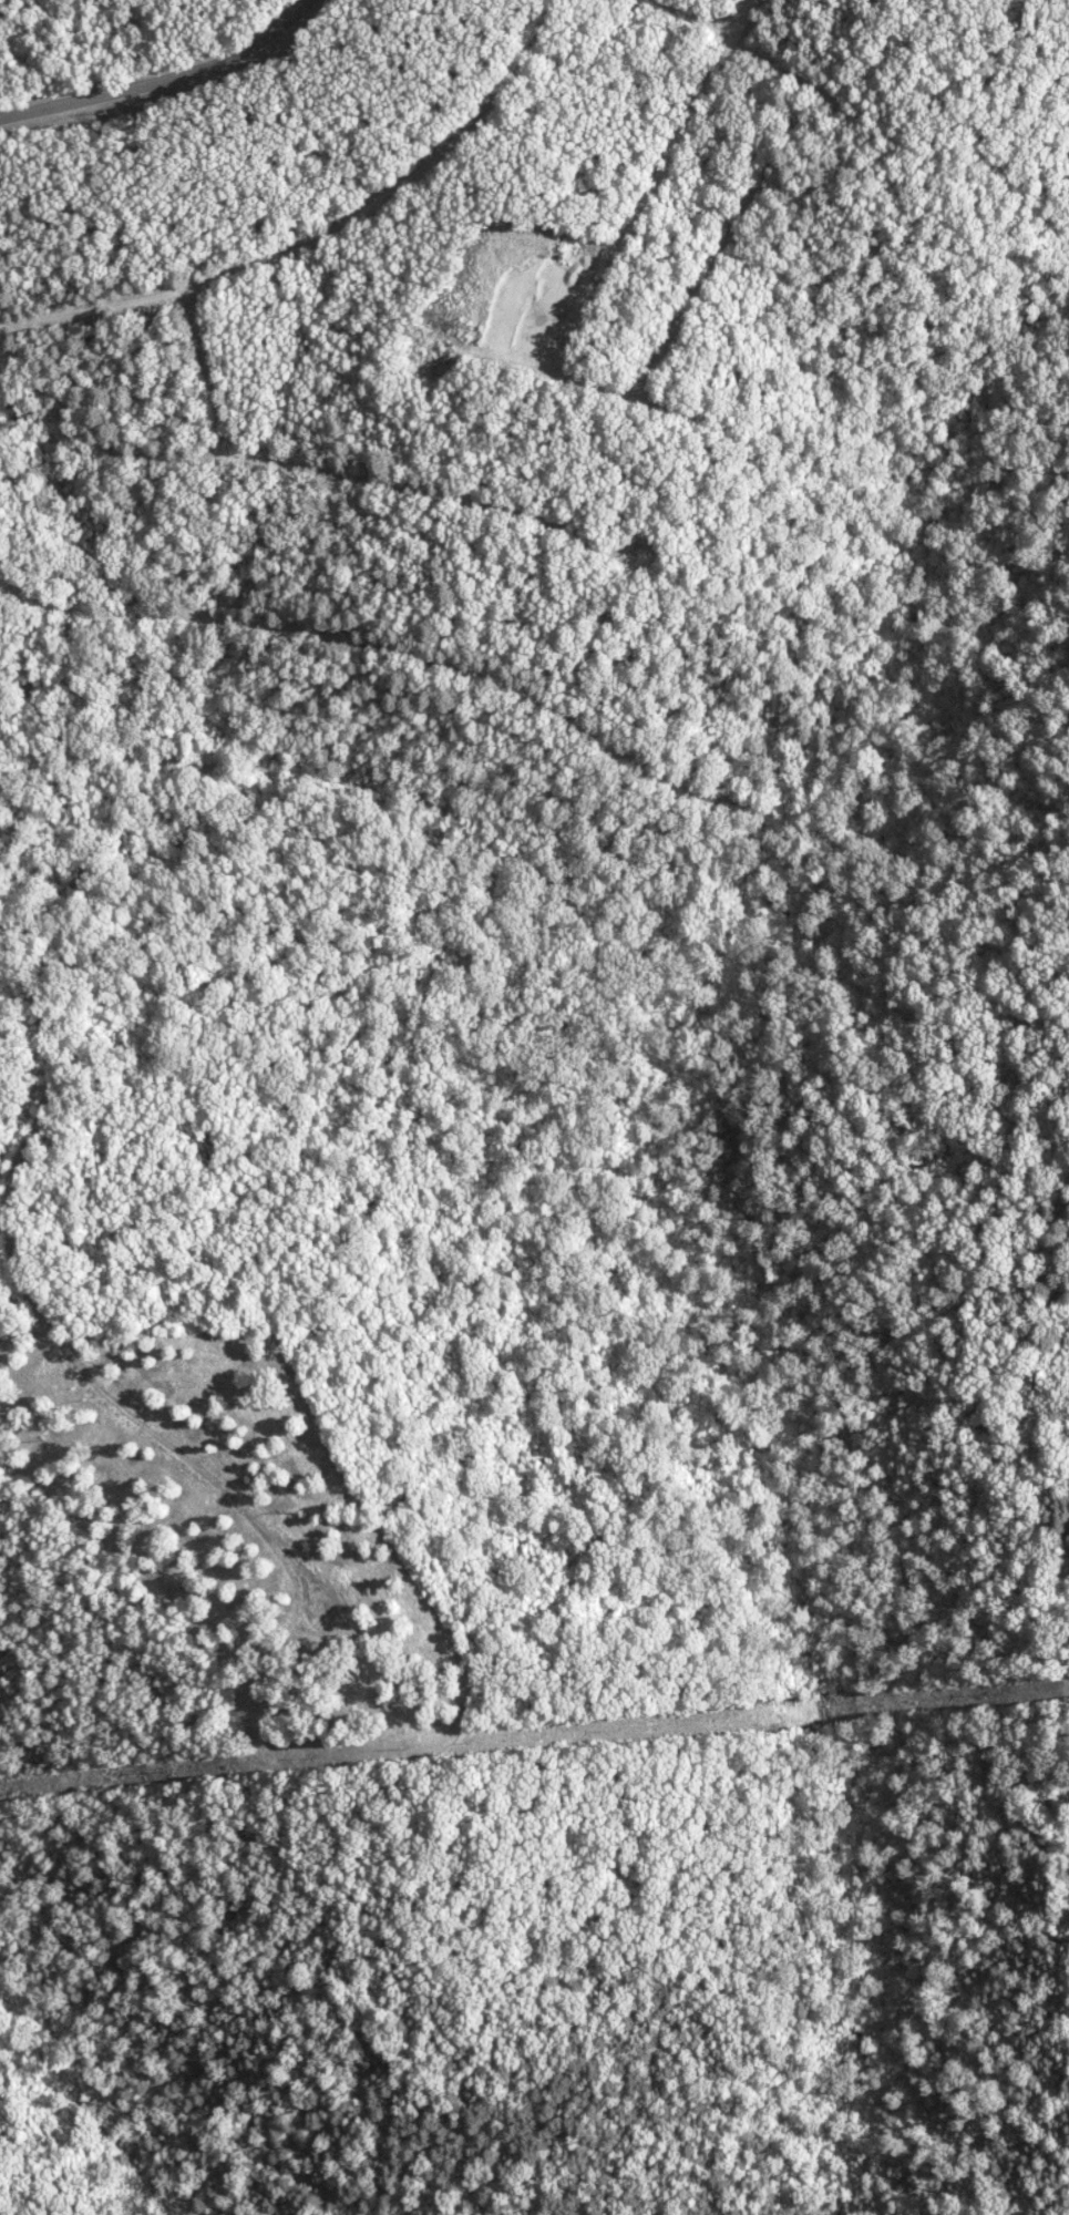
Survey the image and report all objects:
road: (161, 79)
road: (40, 1316)

